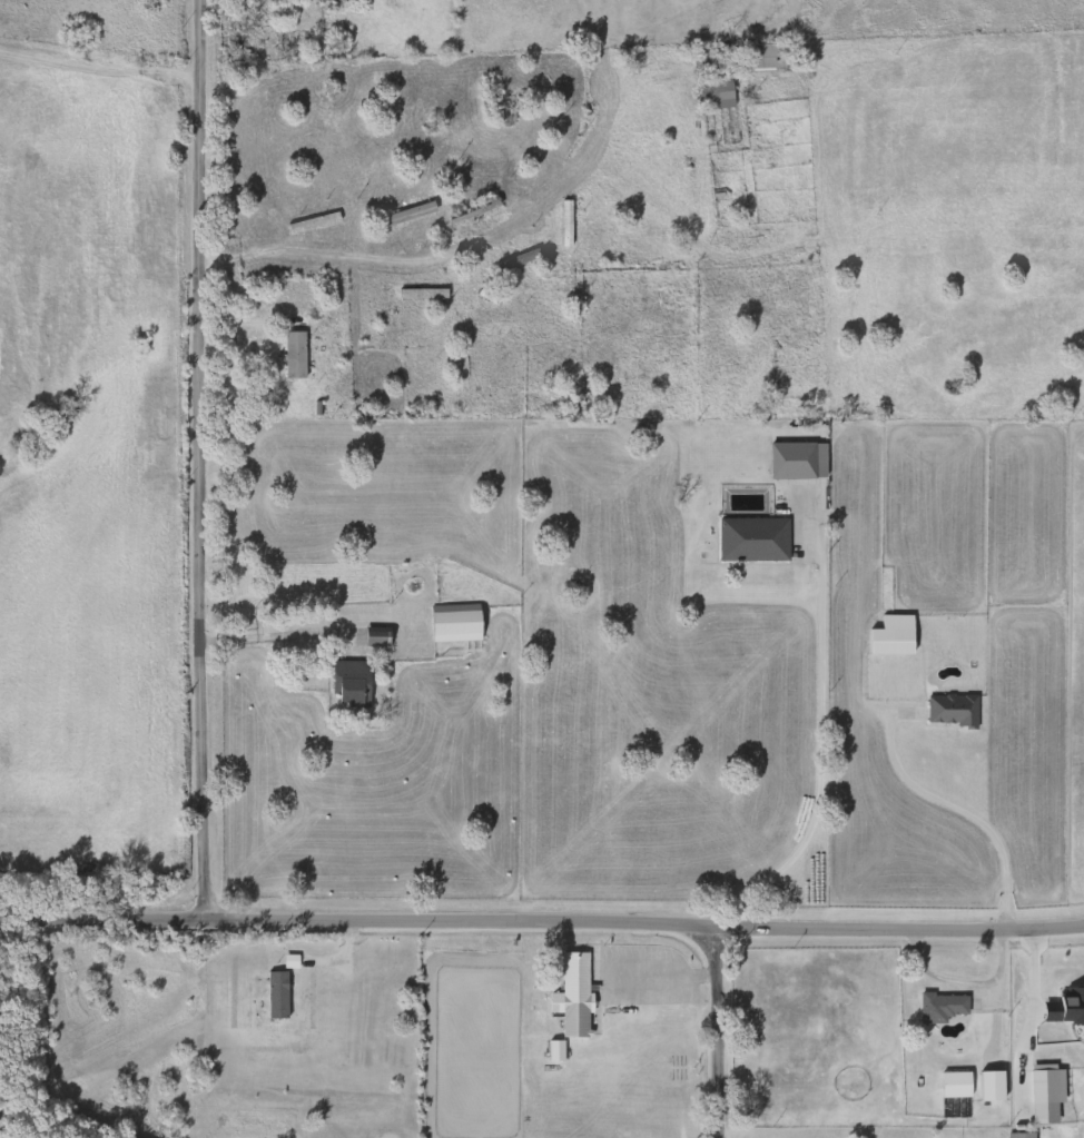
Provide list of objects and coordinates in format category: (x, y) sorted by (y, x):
building: (763, 56)
road: (98, 70)
building: (712, 92)
building: (227, 106)
building: (470, 210)
building: (405, 212)
building: (309, 222)
building: (562, 222)
road: (455, 249)
building: (418, 294)
building: (492, 300)
building: (385, 323)
building: (292, 354)
road: (197, 459)
building: (795, 459)
building: (749, 538)
building: (452, 622)
building: (889, 635)
building: (348, 683)
building: (948, 709)
road: (817, 762)
road: (967, 811)
road: (542, 923)
road: (648, 961)
road: (697, 974)
road: (635, 984)
building: (274, 993)
building: (570, 994)
building: (938, 1006)
road: (1029, 1008)
road: (711, 1032)
building: (953, 1085)
building: (988, 1086)
building: (1016, 1135)

